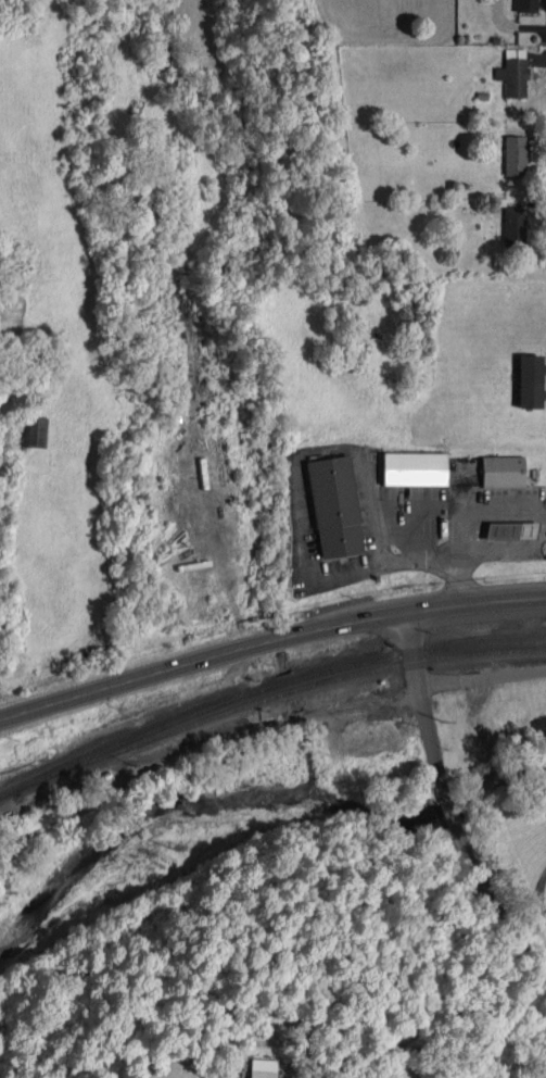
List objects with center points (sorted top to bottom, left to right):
building: (526, 5)
building: (513, 73)
building: (516, 154)
building: (513, 225)
building: (529, 380)
building: (33, 430)
building: (415, 468)
building: (503, 472)
building: (334, 506)
building: (511, 529)
road: (269, 639)
road: (484, 680)
railway: (265, 687)
railway: (269, 698)
road: (452, 805)
building: (262, 1068)

